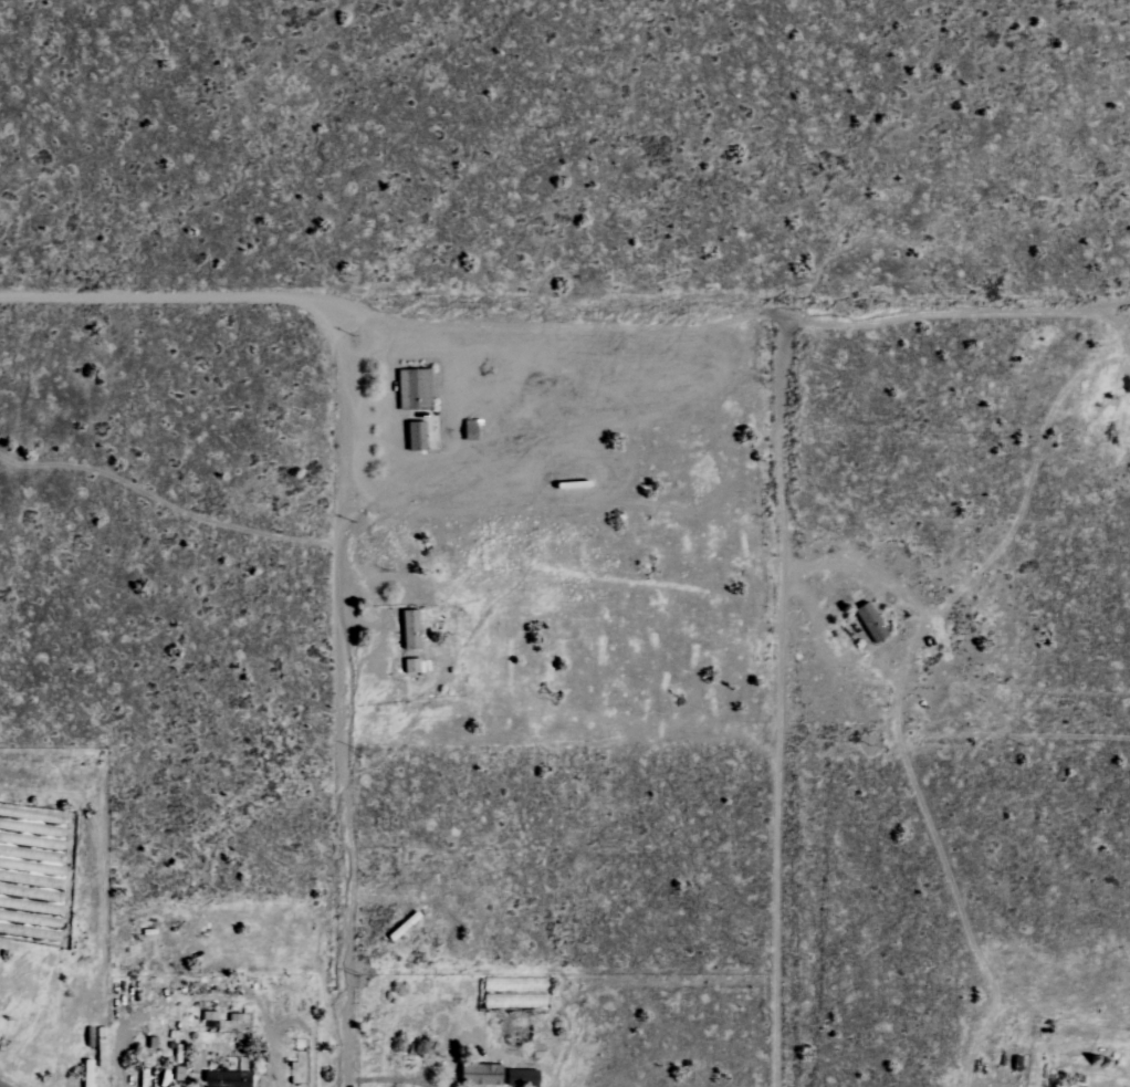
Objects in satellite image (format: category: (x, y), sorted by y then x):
road: (565, 301)
road: (1111, 324)
building: (1124, 407)
building: (419, 436)
building: (873, 621)
building: (412, 629)
road: (778, 691)
road: (338, 696)
road: (910, 780)
building: (211, 1015)
road: (391, 1078)
building: (229, 1079)

